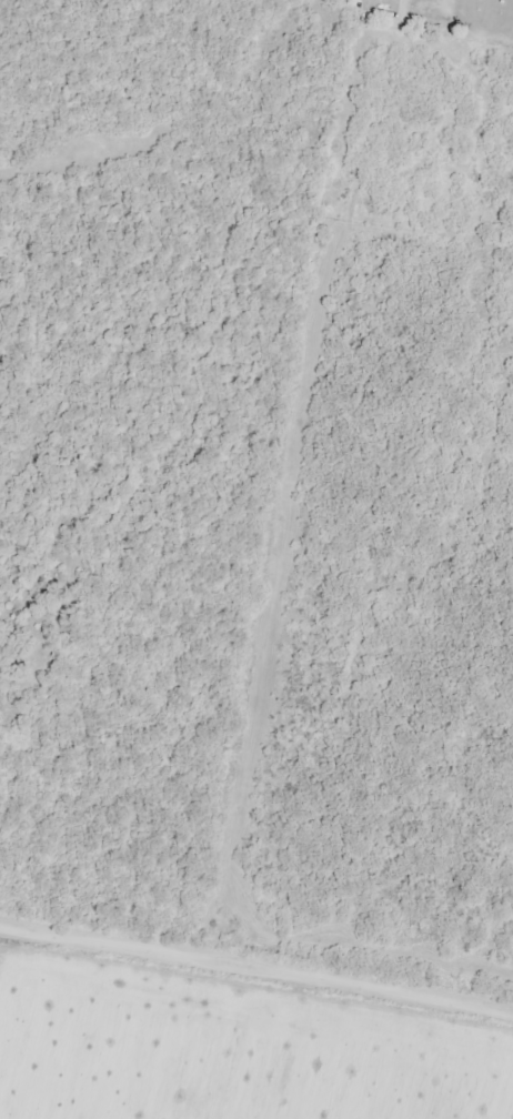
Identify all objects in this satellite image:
road: (256, 965)

